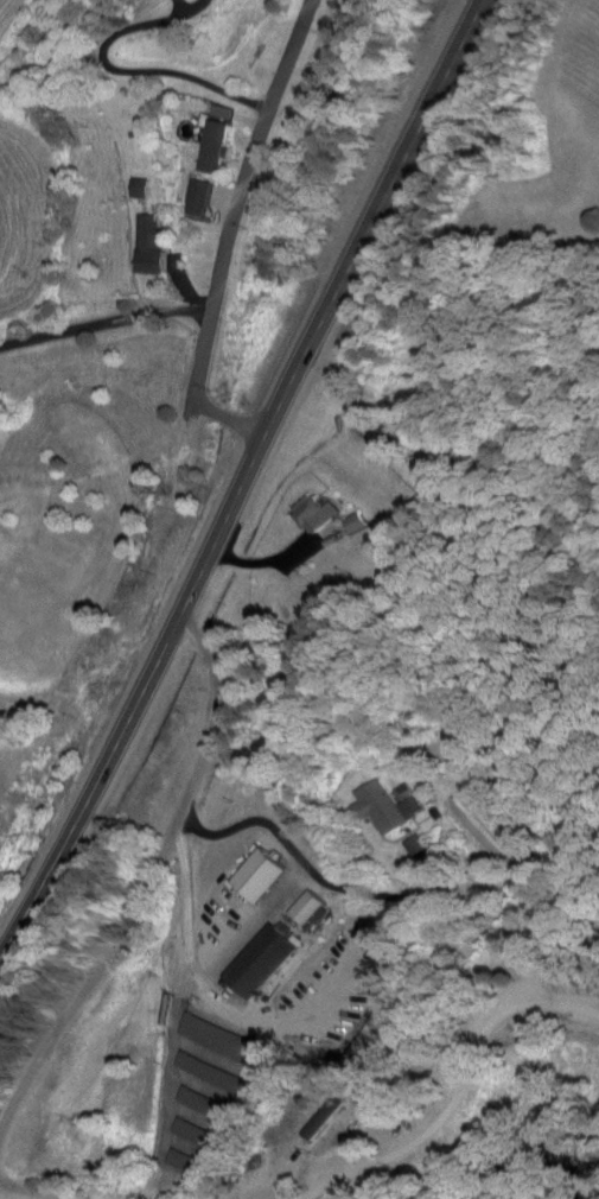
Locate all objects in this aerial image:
building: (214, 148)
building: (199, 201)
road: (231, 235)
building: (152, 248)
road: (106, 324)
road: (246, 480)
building: (321, 514)
building: (393, 808)
building: (267, 877)
road: (140, 893)
building: (313, 909)
building: (268, 963)
building: (224, 1040)
building: (218, 1076)
road: (457, 1103)
building: (212, 1106)
building: (200, 1136)
building: (189, 1163)
road: (27, 1193)

